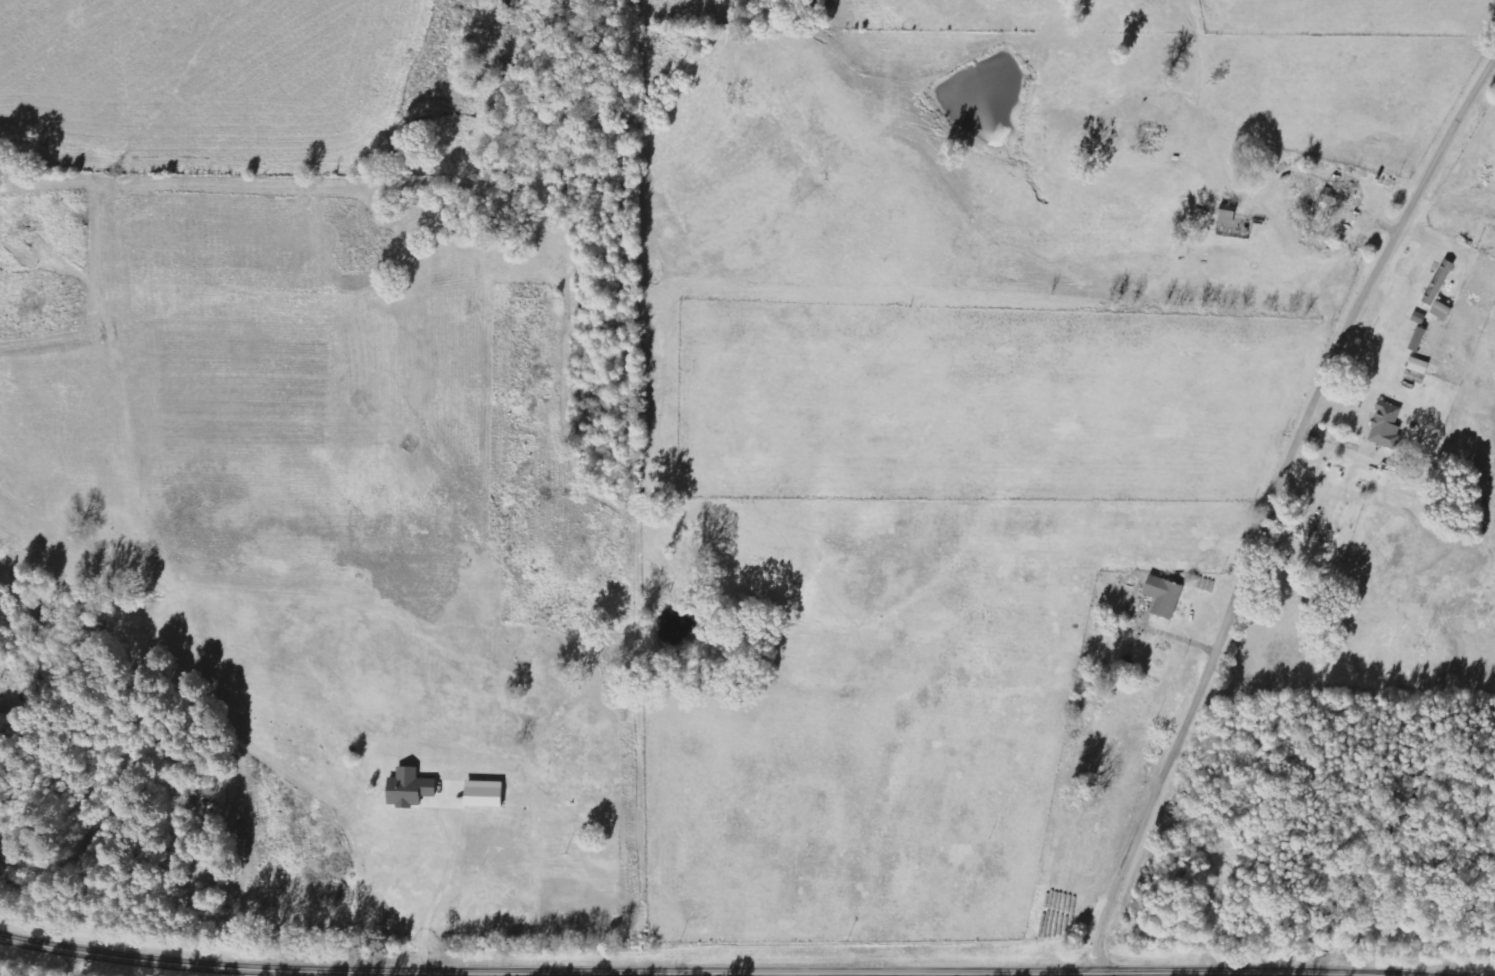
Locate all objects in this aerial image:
building: (1335, 200)
building: (1440, 283)
building: (1444, 311)
building: (1421, 318)
building: (1420, 340)
building: (1420, 367)
building: (1387, 427)
road: (1277, 514)
building: (1166, 597)
building: (407, 789)
building: (481, 794)
road: (74, 964)
road: (715, 971)
road: (1423, 975)

